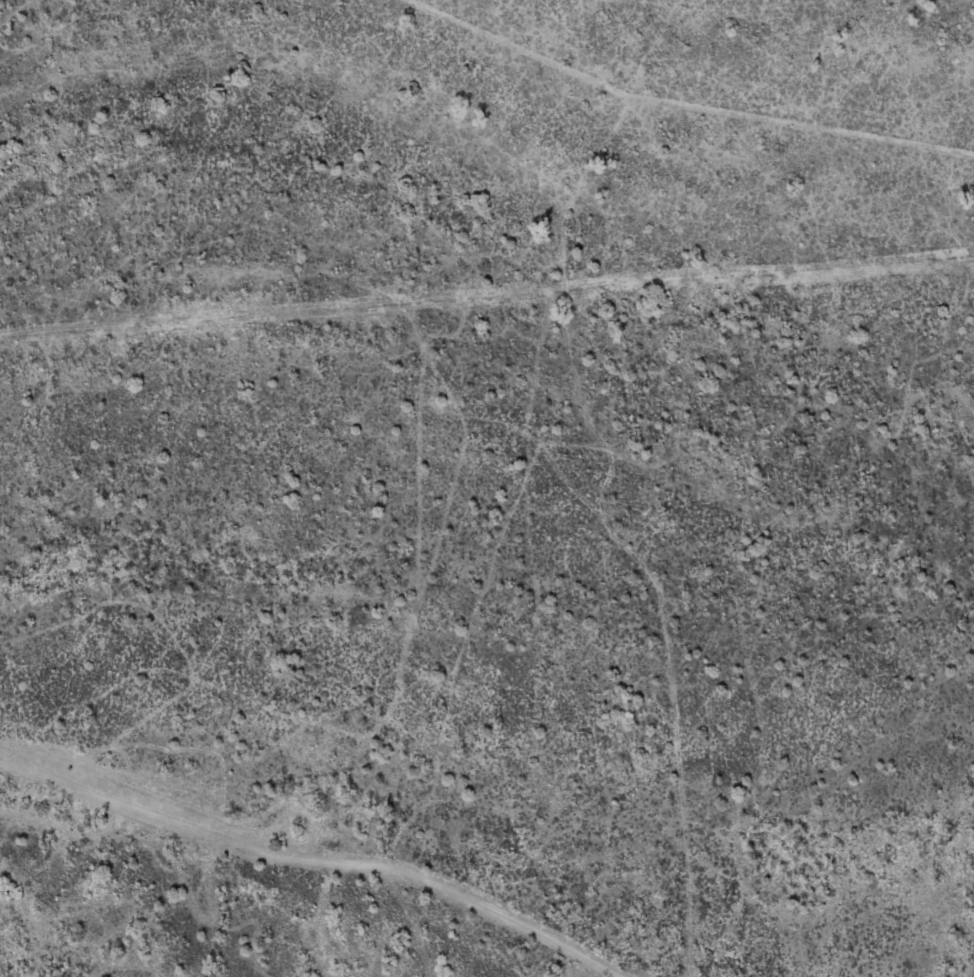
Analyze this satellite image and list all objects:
road: (609, 479)
road: (314, 861)

